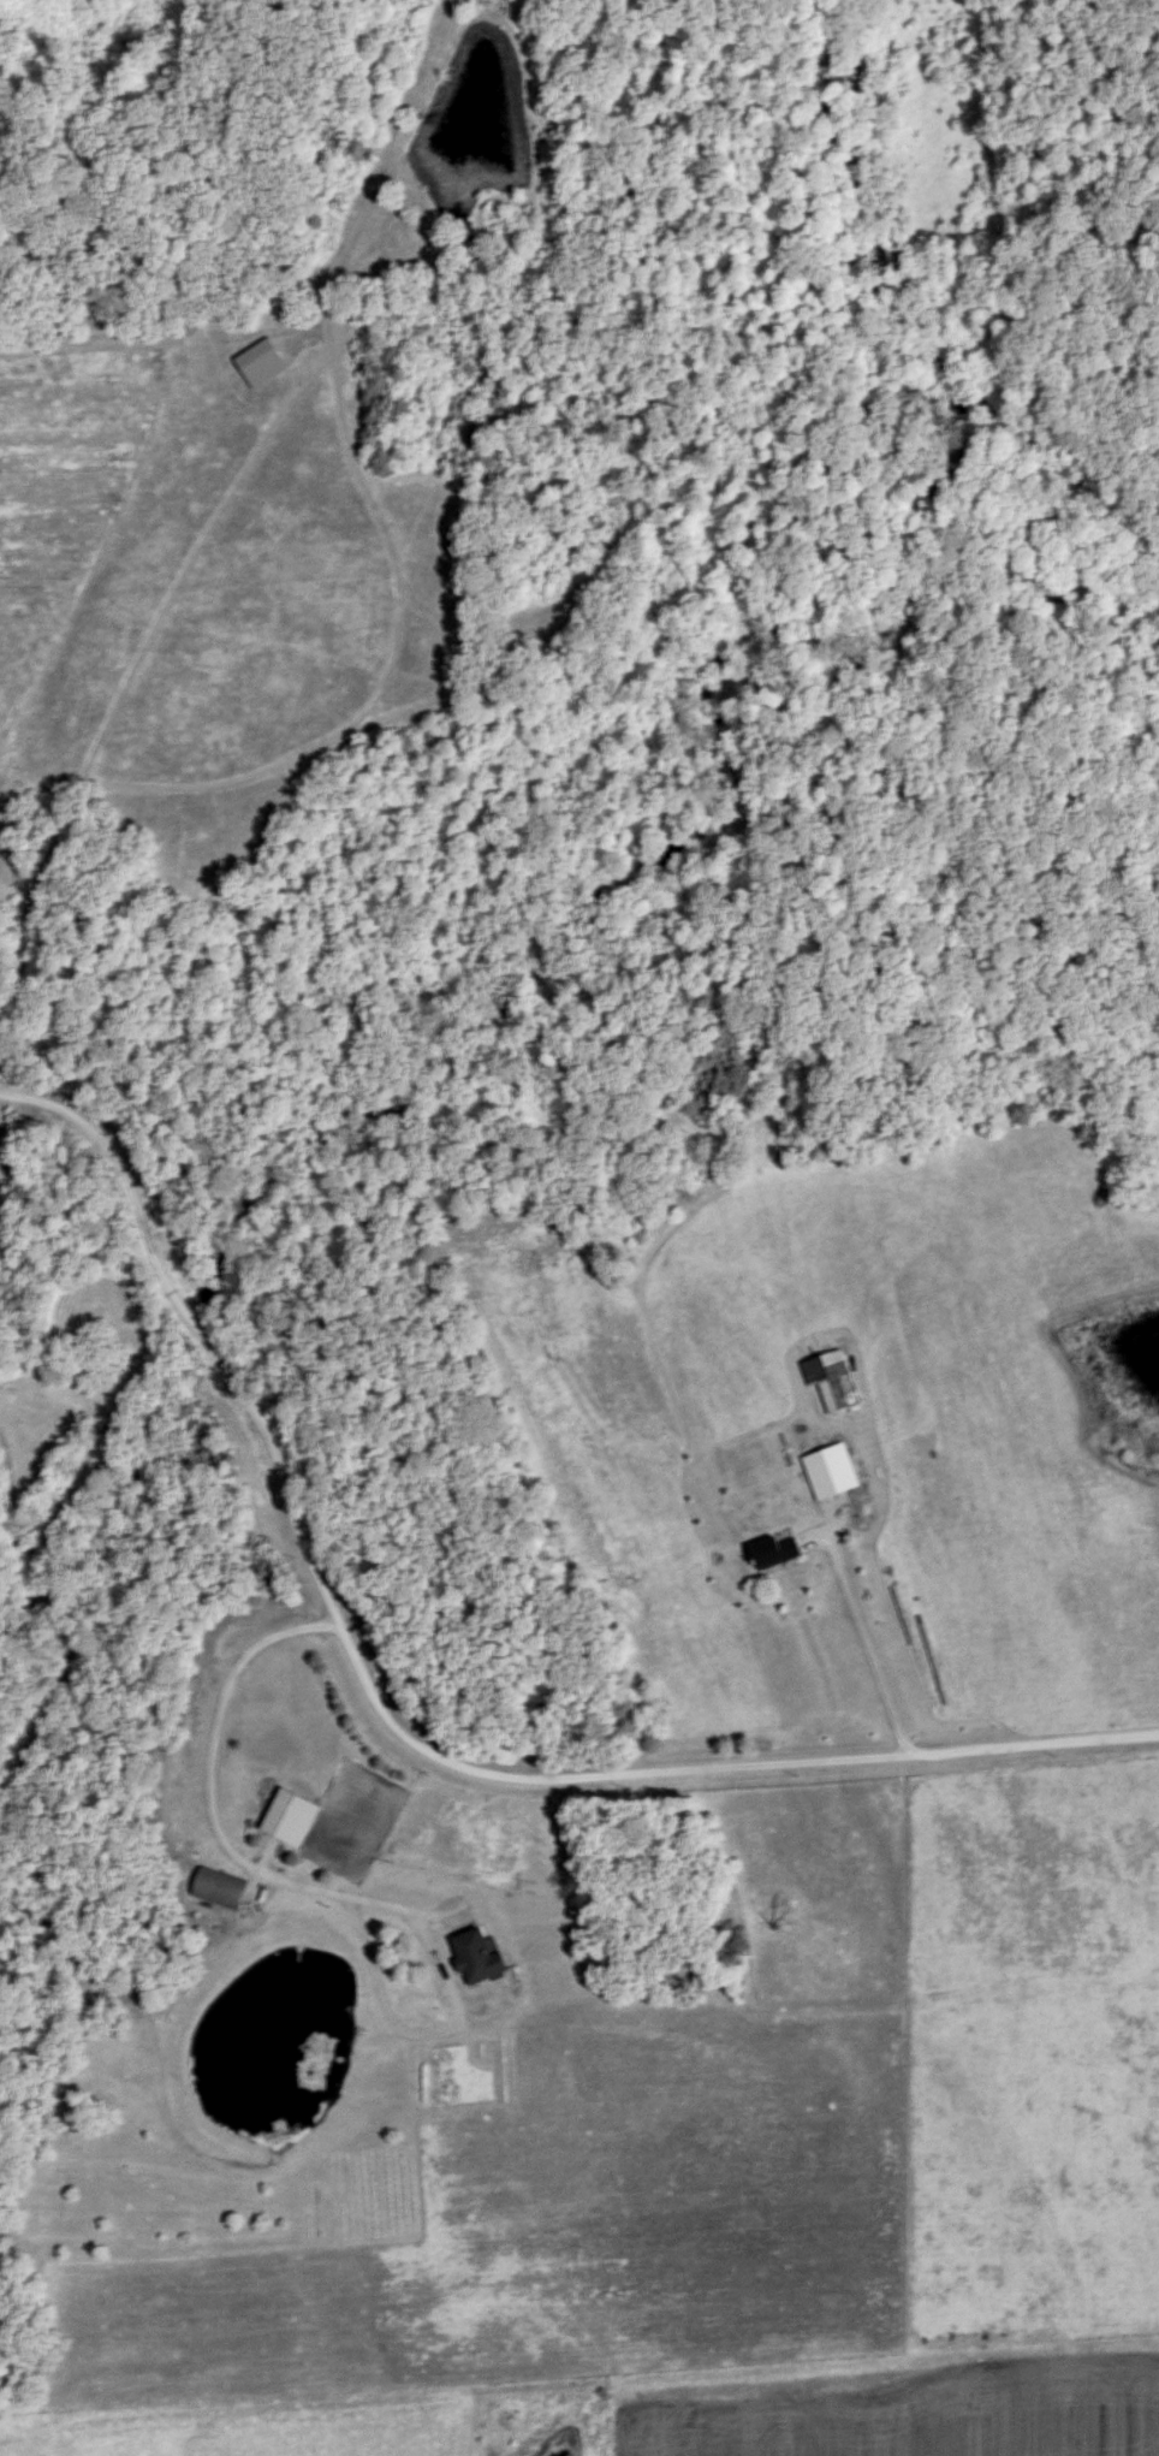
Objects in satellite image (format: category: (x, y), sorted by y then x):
road: (932, 308)
building: (258, 366)
road: (50, 1109)
road: (167, 1275)
building: (828, 1381)
building: (836, 1471)
building: (771, 1553)
road: (864, 1644)
road: (216, 1814)
building: (286, 1821)
building: (219, 1891)
building: (471, 1958)
road: (417, 2030)

